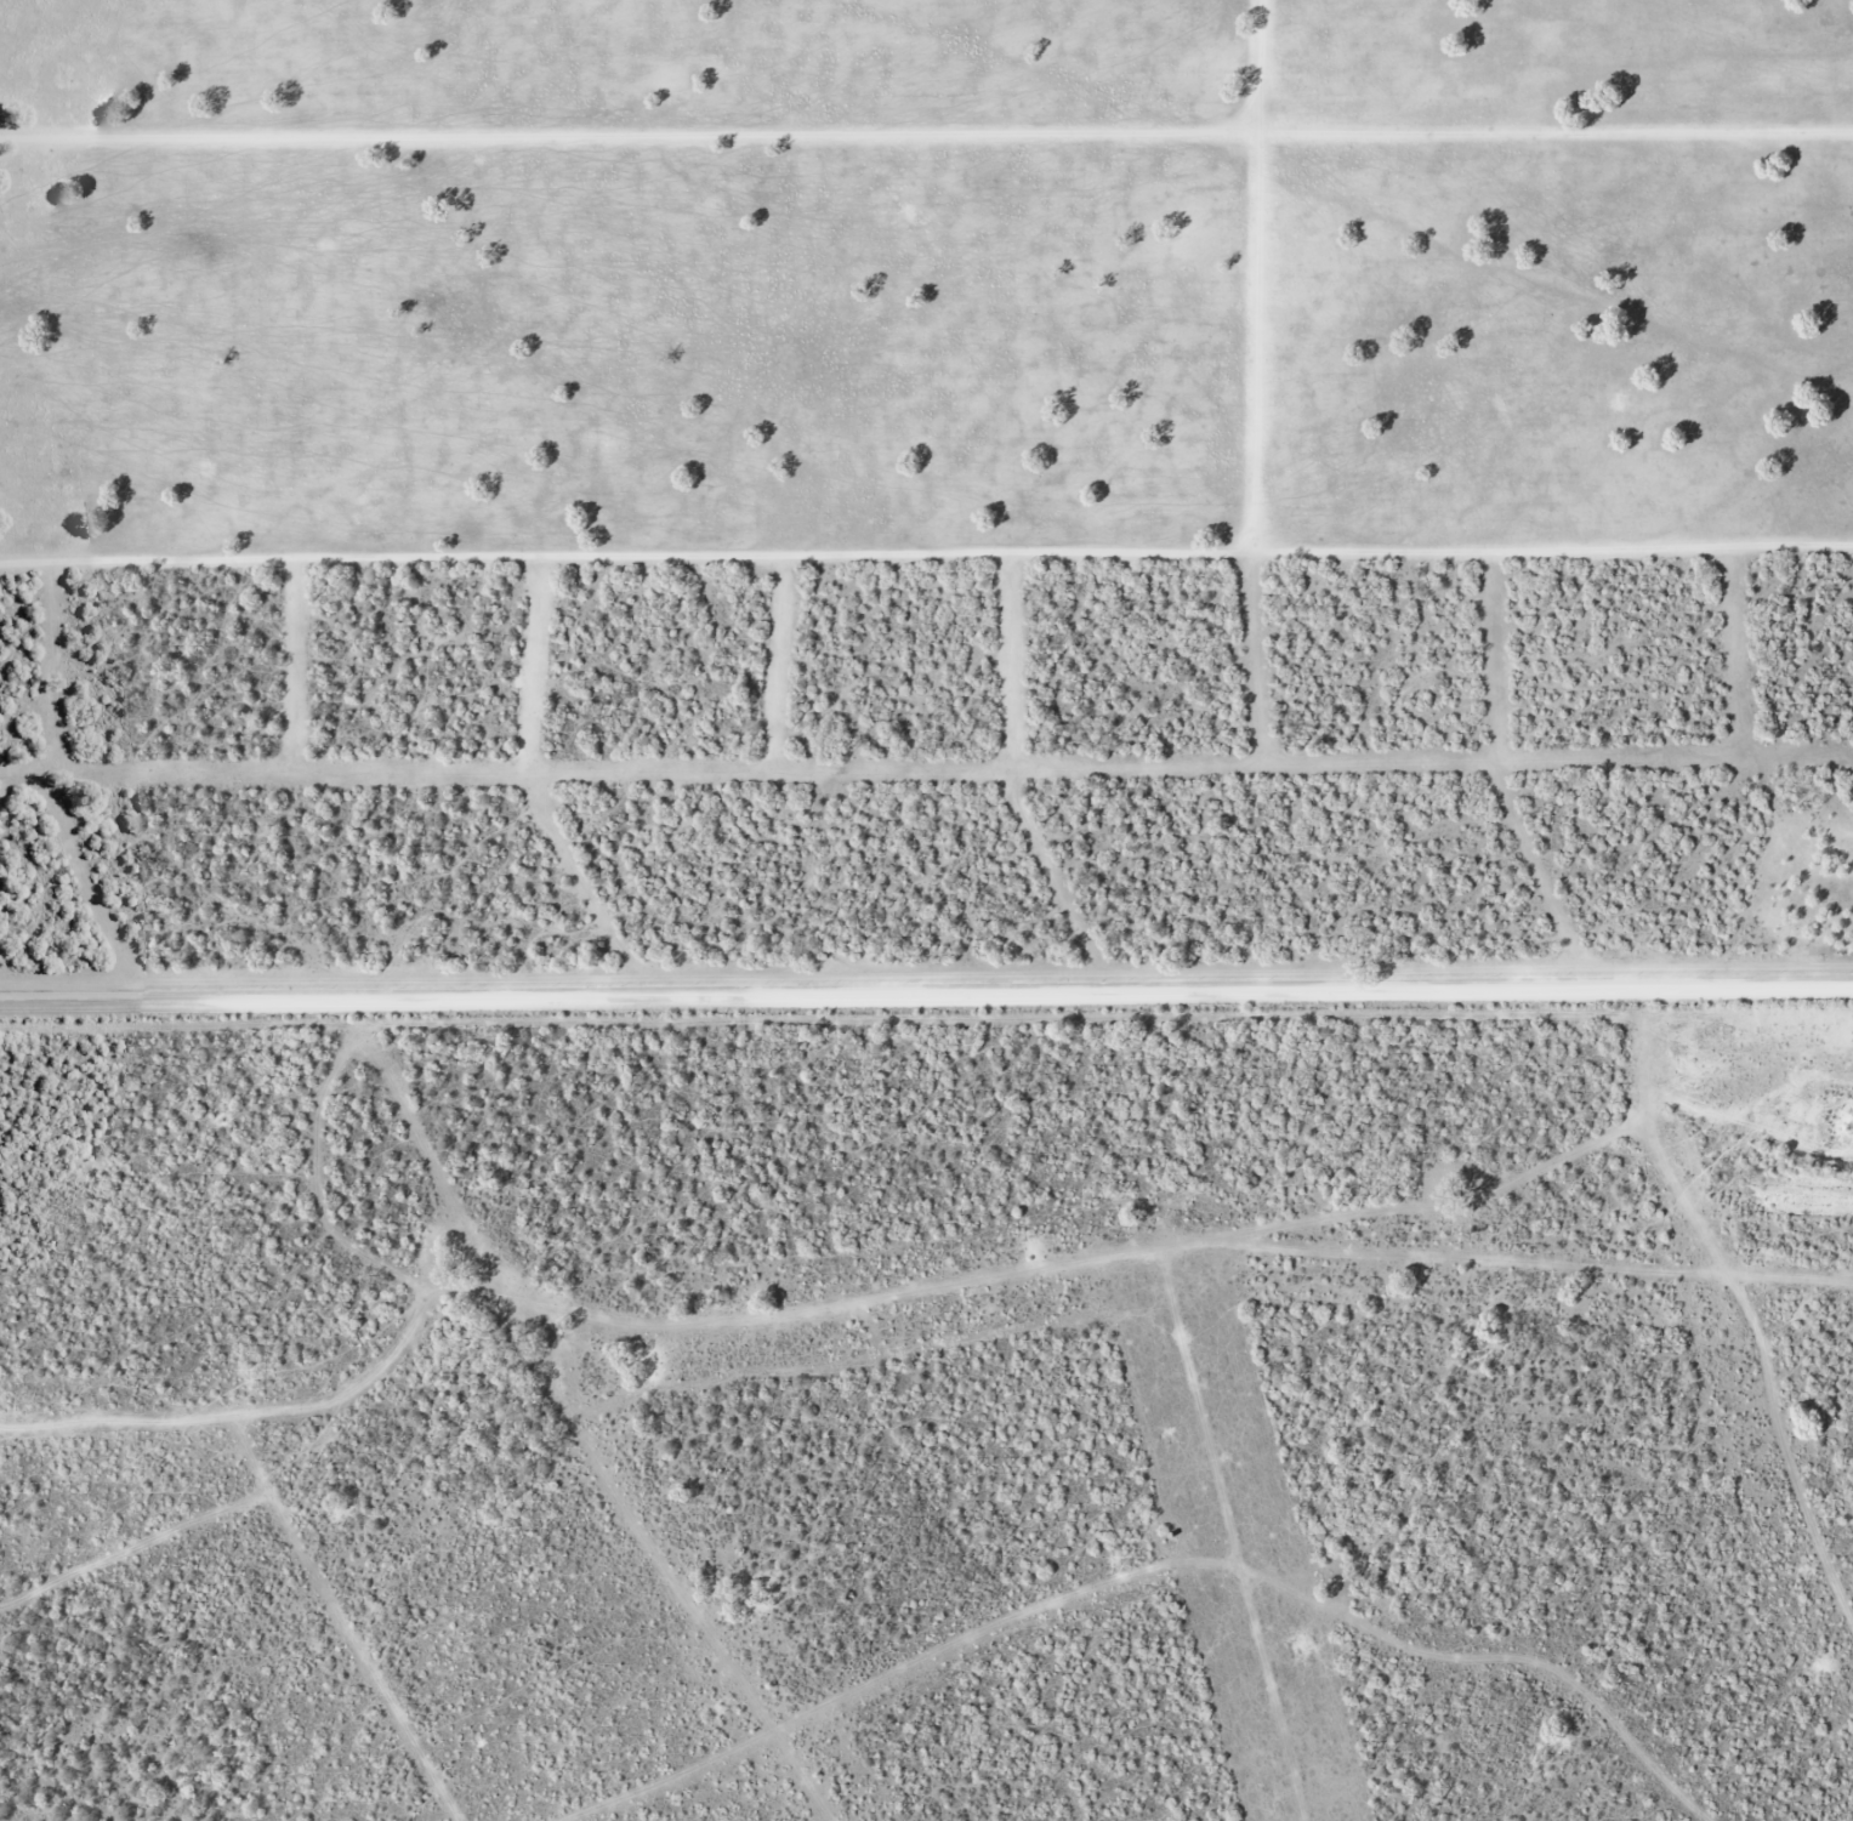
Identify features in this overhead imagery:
road: (926, 995)

